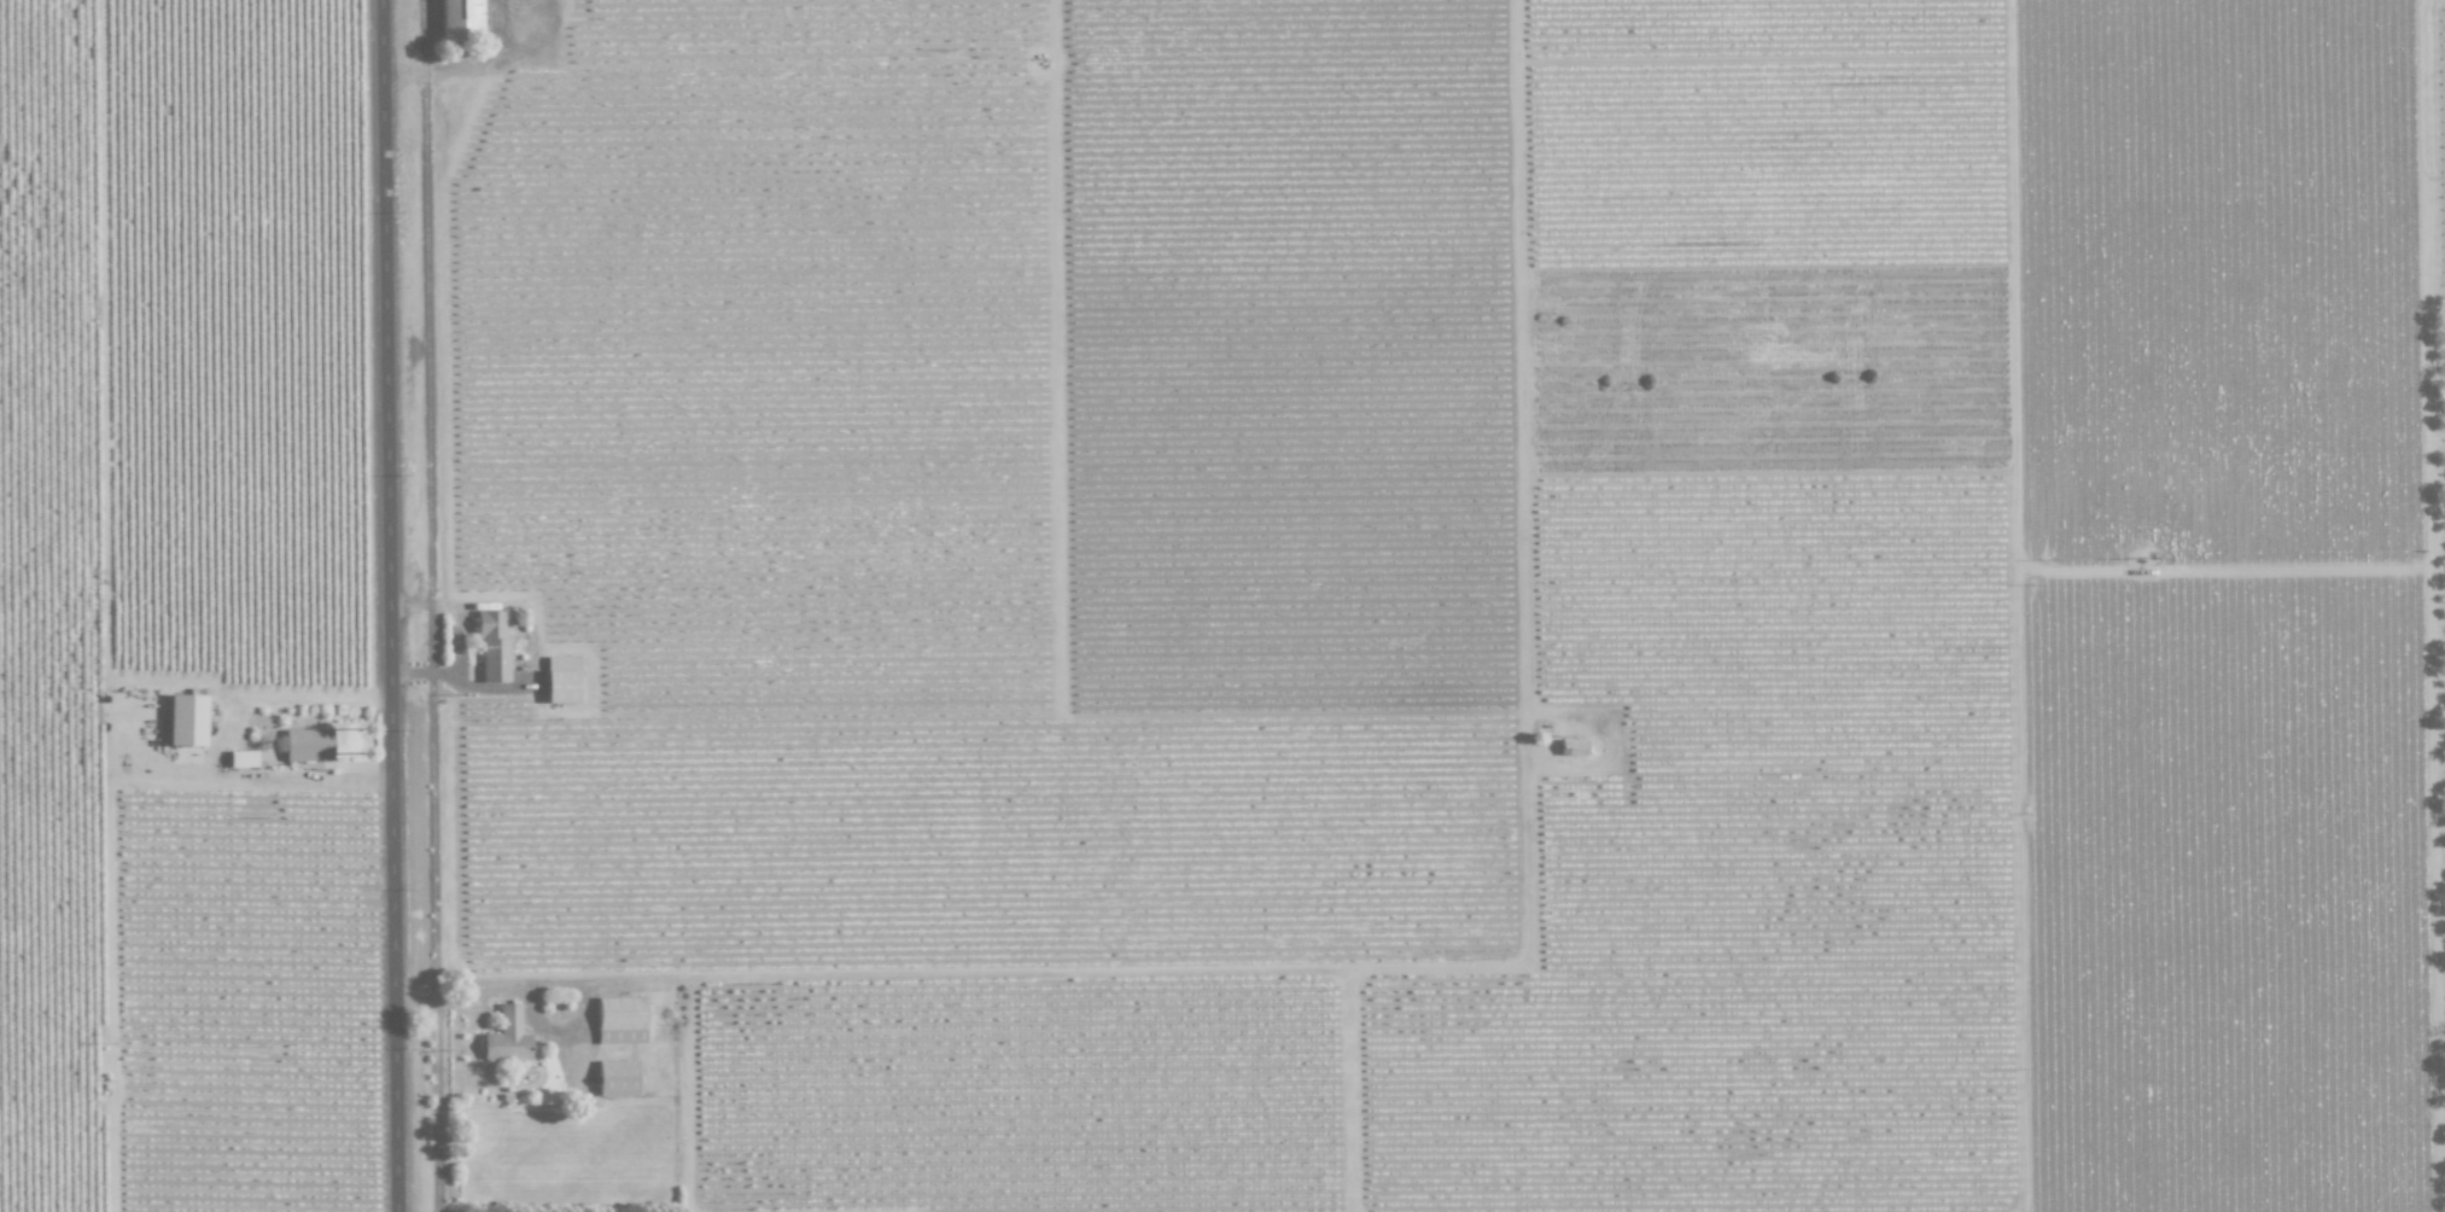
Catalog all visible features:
building: (459, 18)
road: (392, 606)
building: (491, 646)
building: (560, 678)
building: (185, 719)
building: (307, 744)
building: (1572, 746)
building: (240, 758)
road: (550, 984)
building: (620, 1019)
building: (506, 1036)
building: (615, 1077)

